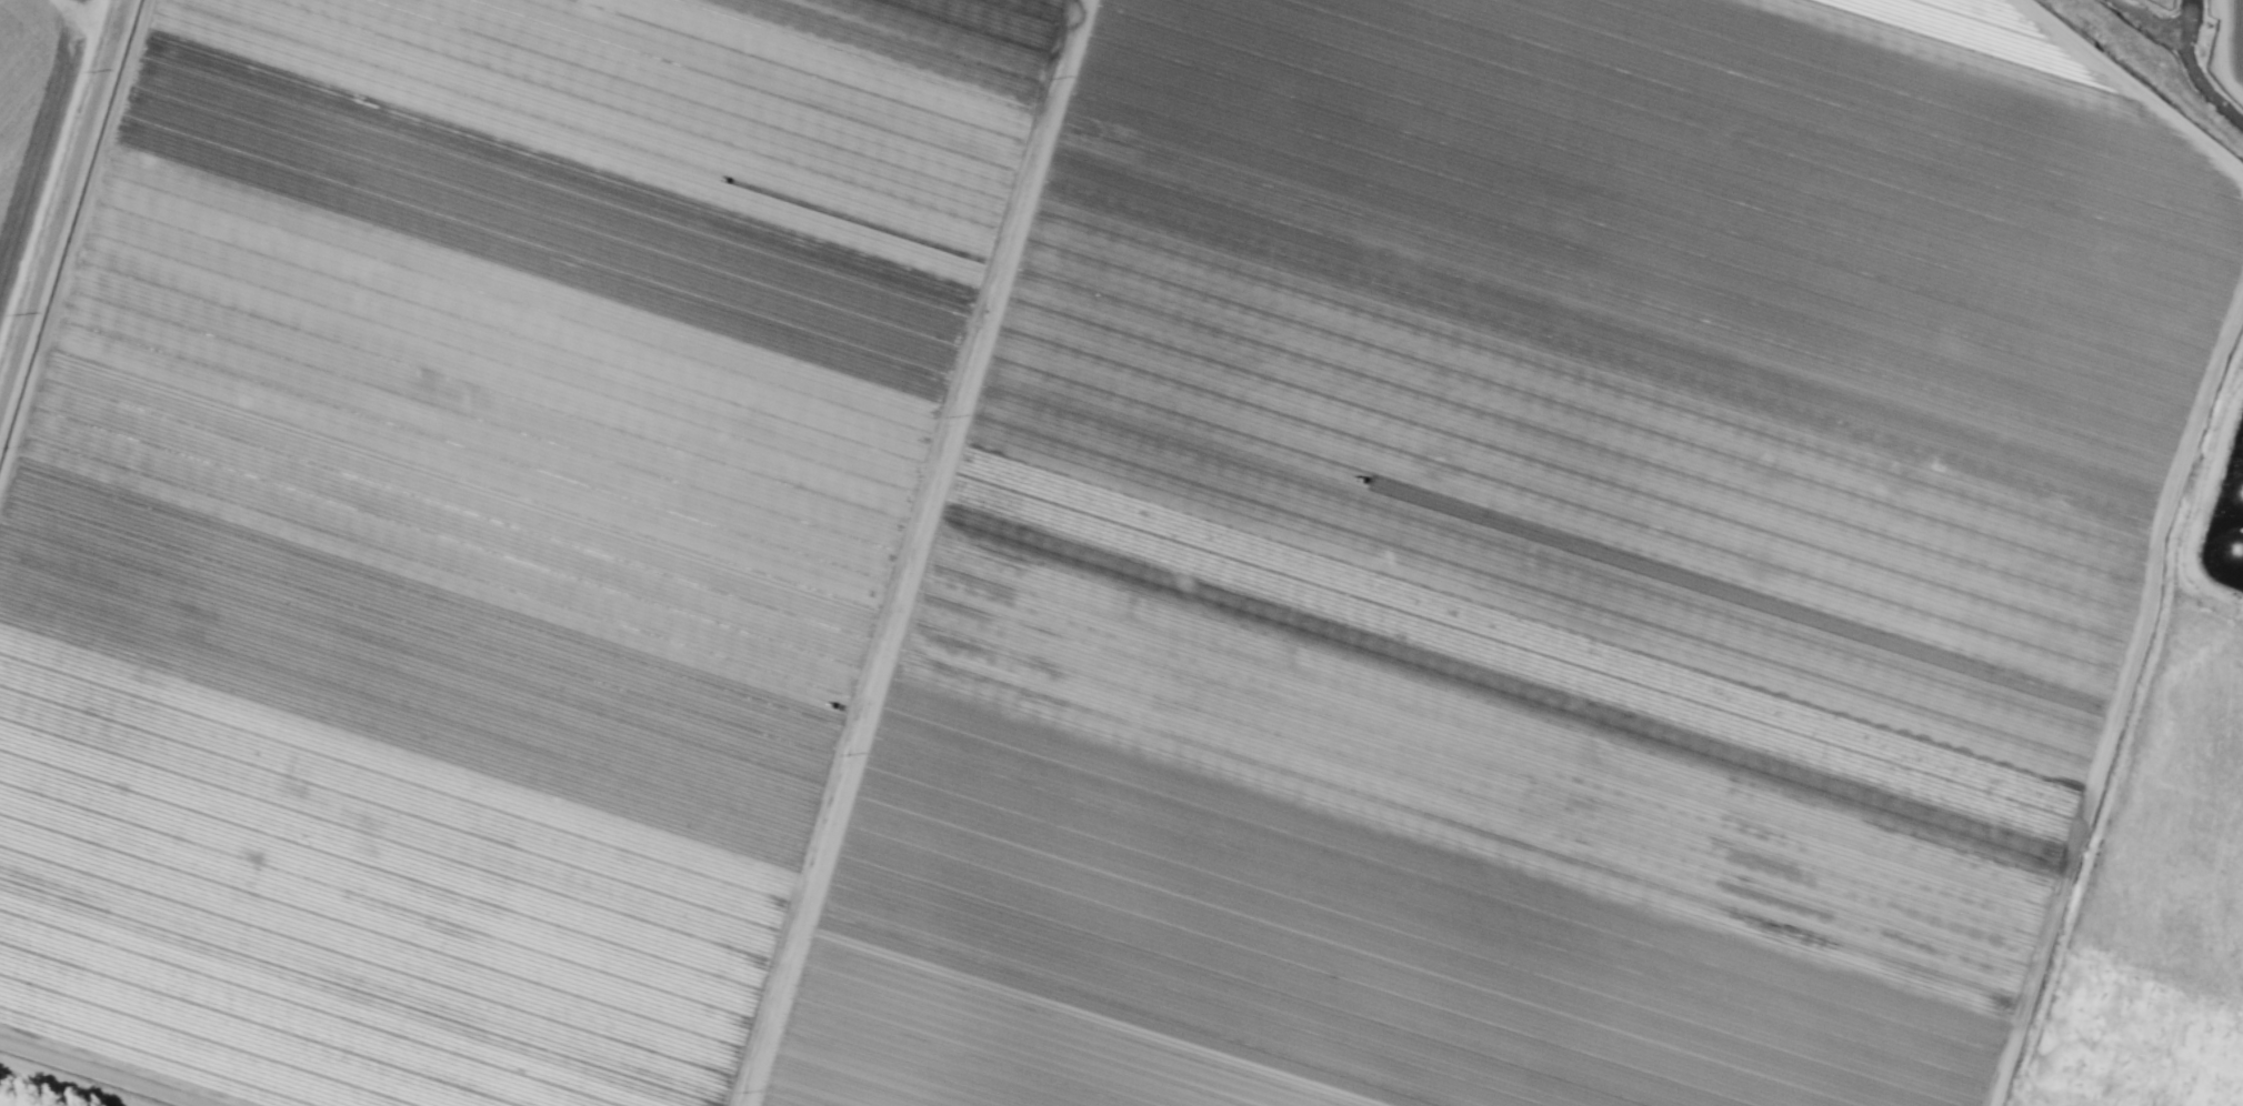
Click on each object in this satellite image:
road: (83, 22)
road: (48, 155)
road: (62, 205)
crop: (1124, 551)
road: (912, 553)
road: (94, 1075)
road: (2011, 1100)

